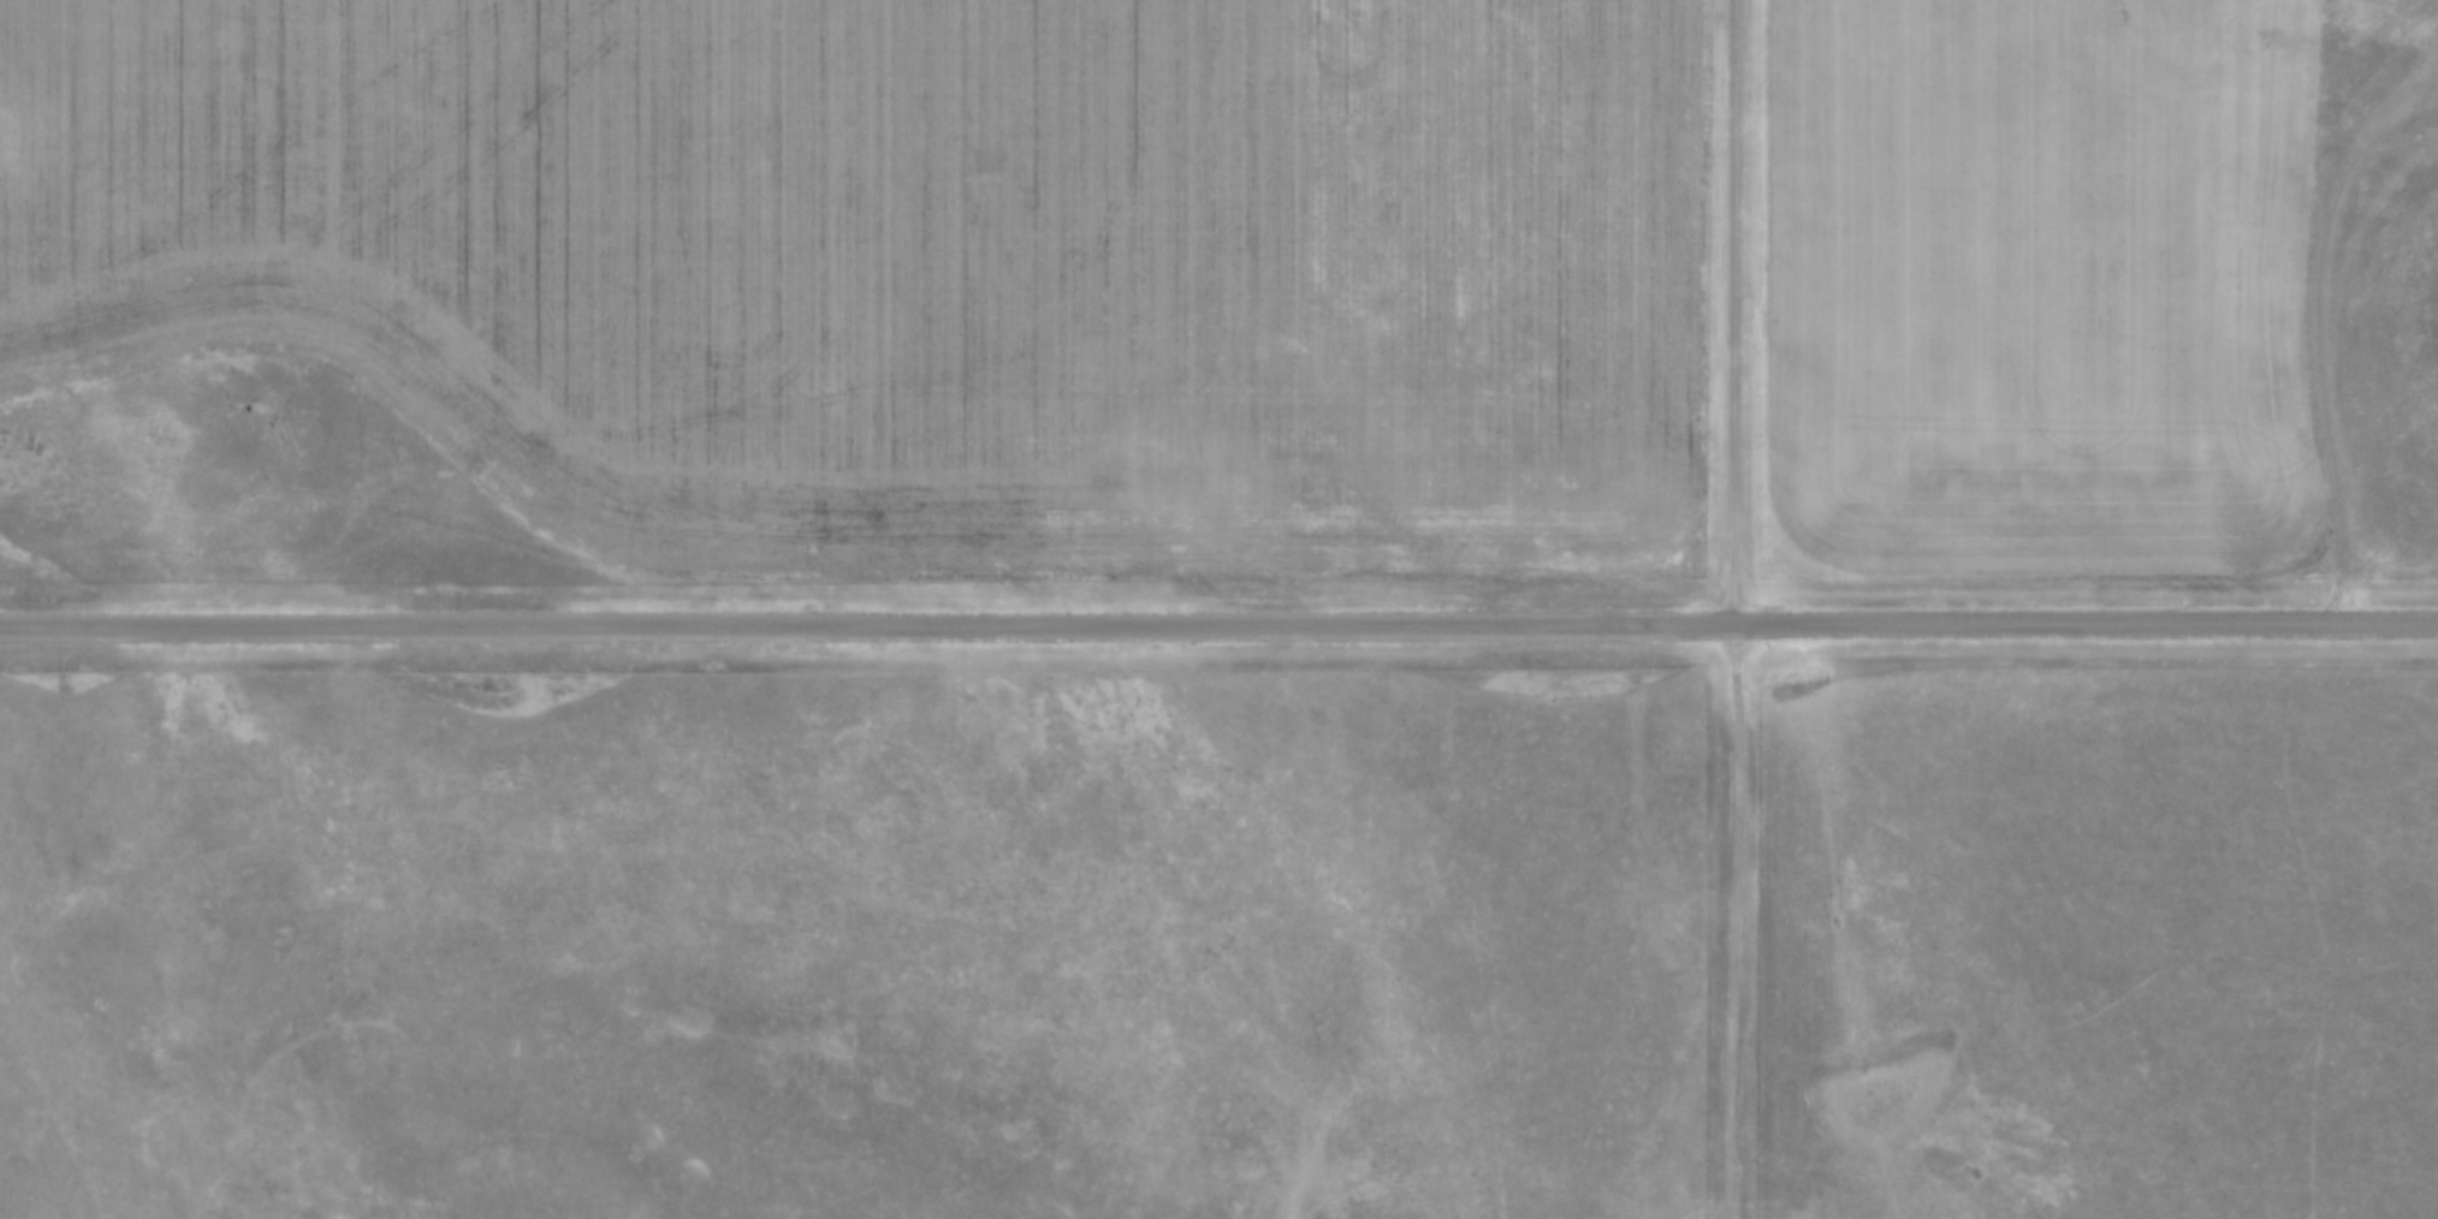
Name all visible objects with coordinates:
road: (272, 317)
road: (1736, 609)
road: (1218, 626)

